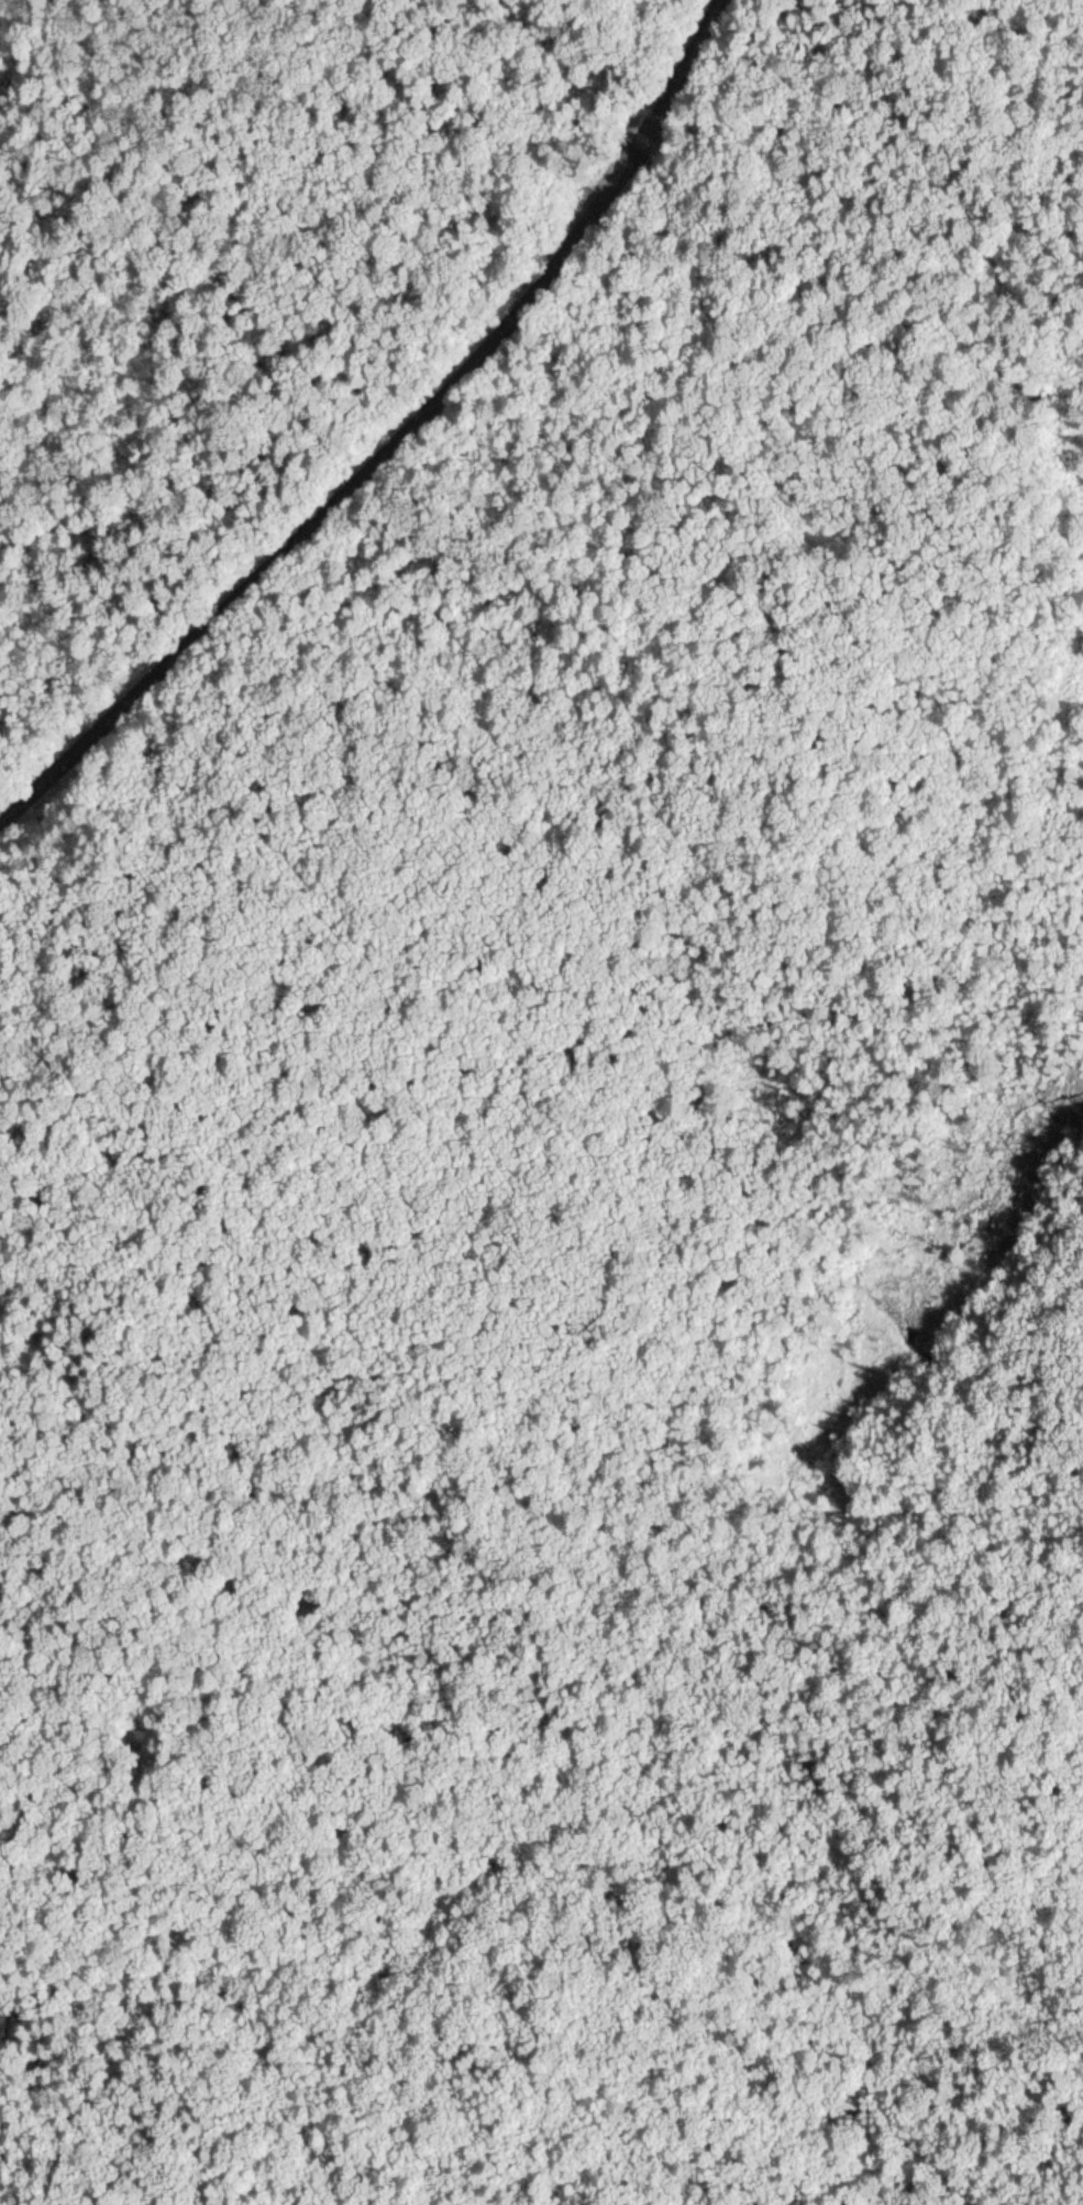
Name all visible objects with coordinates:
road: (390, 440)
road: (533, 1414)

